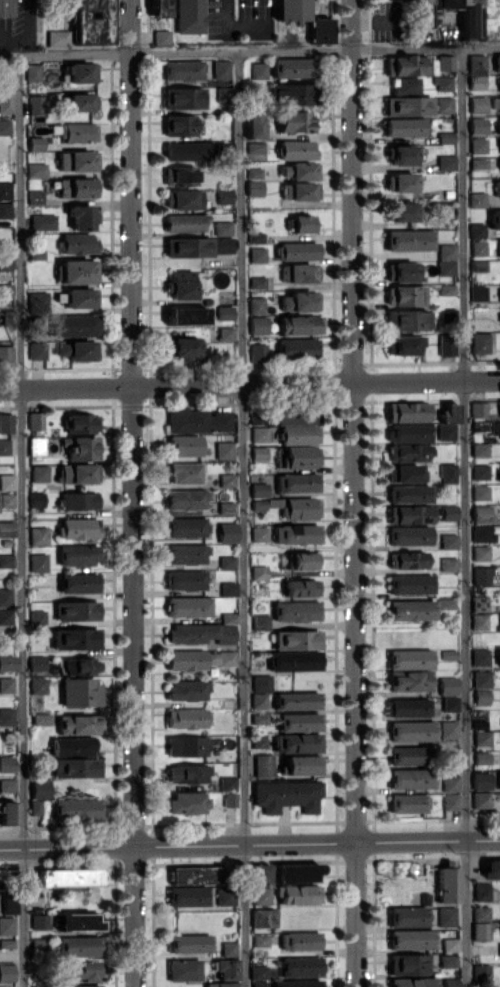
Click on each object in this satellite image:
building: (418, 2)
building: (7, 8)
building: (158, 8)
building: (290, 9)
building: (189, 16)
building: (476, 17)
building: (90, 21)
road: (28, 23)
road: (238, 24)
building: (319, 30)
building: (161, 37)
building: (57, 38)
road: (9, 40)
road: (18, 49)
road: (249, 50)
building: (445, 62)
building: (497, 62)
building: (476, 63)
building: (406, 65)
building: (292, 67)
building: (222, 69)
building: (183, 70)
building: (259, 70)
building: (32, 71)
building: (80, 72)
building: (499, 78)
building: (476, 82)
building: (443, 83)
building: (404, 85)
building: (225, 93)
building: (290, 93)
building: (184, 97)
building: (6, 101)
building: (80, 102)
building: (495, 102)
building: (36, 104)
building: (444, 104)
building: (477, 104)
building: (408, 105)
building: (294, 121)
building: (179, 125)
building: (477, 125)
building: (497, 125)
building: (255, 126)
building: (4, 127)
building: (404, 127)
building: (77, 132)
building: (35, 143)
building: (478, 145)
building: (499, 145)
building: (257, 147)
building: (296, 149)
building: (189, 150)
building: (401, 154)
building: (76, 160)
building: (446, 162)
building: (478, 163)
building: (499, 165)
building: (36, 170)
building: (299, 170)
building: (255, 172)
building: (180, 175)
building: (400, 182)
building: (76, 187)
building: (255, 187)
building: (497, 187)
building: (5, 189)
building: (299, 190)
building: (224, 195)
building: (35, 196)
building: (183, 199)
building: (477, 200)
building: (5, 210)
building: (401, 211)
building: (81, 216)
building: (494, 218)
building: (43, 222)
building: (185, 222)
building: (301, 223)
building: (223, 228)
building: (476, 230)
building: (255, 237)
building: (409, 239)
building: (76, 243)
building: (188, 246)
building: (477, 247)
building: (499, 247)
building: (296, 251)
building: (257, 254)
building: (446, 259)
building: (5, 263)
building: (77, 271)
building: (402, 271)
building: (299, 272)
building: (257, 281)
building: (181, 284)
building: (499, 285)
building: (478, 292)
building: (405, 295)
building: (80, 297)
building: (299, 301)
building: (37, 303)
building: (256, 304)
building: (225, 312)
building: (186, 315)
building: (447, 316)
building: (7, 317)
building: (406, 320)
building: (258, 324)
building: (299, 324)
building: (74, 325)
building: (479, 342)
building: (404, 344)
building: (446, 344)
building: (181, 347)
building: (296, 348)
building: (36, 350)
building: (78, 350)
building: (258, 352)
building: (6, 355)
road: (249, 382)
building: (478, 408)
building: (406, 411)
building: (448, 412)
building: (295, 416)
building: (35, 420)
building: (198, 420)
building: (5, 422)
building: (81, 423)
building: (446, 431)
building: (407, 432)
building: (259, 434)
building: (298, 434)
building: (36, 445)
building: (184, 445)
building: (4, 446)
building: (81, 447)
building: (480, 449)
building: (224, 450)
building: (407, 452)
building: (259, 453)
building: (300, 456)
building: (479, 471)
building: (184, 472)
building: (404, 472)
building: (498, 472)
building: (39, 473)
building: (78, 473)
building: (447, 473)
building: (226, 480)
building: (7, 481)
building: (296, 482)
building: (259, 489)
building: (480, 492)
road: (134, 493)
road: (354, 493)
building: (409, 493)
building: (37, 499)
building: (186, 499)
building: (6, 500)
building: (79, 500)
building: (291, 506)
building: (226, 507)
building: (448, 512)
building: (481, 513)
building: (409, 514)
road: (464, 517)
road: (243, 518)
road: (22, 520)
building: (186, 527)
building: (7, 528)
building: (78, 528)
building: (227, 532)
building: (482, 533)
building: (259, 534)
building: (296, 534)
building: (38, 535)
building: (409, 535)
building: (448, 541)
building: (480, 552)
building: (185, 553)
building: (78, 554)
building: (407, 559)
building: (6, 560)
building: (302, 560)
building: (227, 561)
building: (38, 562)
building: (448, 564)
building: (258, 572)
building: (481, 575)
building: (185, 579)
building: (78, 582)
building: (410, 583)
building: (229, 588)
building: (301, 588)
building: (5, 597)
building: (445, 603)
building: (479, 603)
building: (188, 606)
building: (77, 610)
building: (410, 610)
building: (296, 611)
building: (6, 616)
building: (37, 617)
building: (229, 618)
building: (479, 621)
building: (260, 622)
building: (200, 633)
building: (75, 638)
building: (296, 639)
building: (499, 656)
building: (480, 657)
building: (199, 659)
building: (409, 659)
building: (294, 661)
building: (7, 663)
building: (37, 663)
building: (79, 665)
building: (481, 678)
building: (409, 680)
building: (261, 683)
building: (6, 685)
building: (38, 685)
building: (447, 685)
building: (187, 690)
building: (80, 692)
building: (481, 696)
building: (259, 700)
building: (297, 700)
building: (450, 703)
building: (405, 707)
building: (6, 716)
building: (186, 718)
building: (298, 721)
building: (79, 724)
building: (448, 729)
building: (411, 731)
building: (481, 737)
building: (258, 741)
building: (297, 742)
building: (187, 745)
building: (73, 746)
building: (406, 755)
building: (481, 758)
building: (7, 763)
building: (263, 765)
building: (300, 765)
building: (75, 767)
building: (188, 773)
building: (411, 778)
building: (499, 779)
building: (481, 780)
building: (228, 783)
building: (450, 783)
building: (7, 785)
building: (40, 787)
building: (286, 795)
building: (230, 799)
building: (481, 800)
building: (450, 801)
building: (188, 802)
building: (408, 803)
building: (35, 807)
building: (76, 808)
building: (8, 812)
road: (250, 843)
building: (492, 869)
building: (260, 872)
building: (296, 872)
building: (197, 874)
building: (68, 877)
building: (447, 882)
building: (481, 891)
building: (298, 894)
building: (261, 895)
building: (188, 896)
building: (225, 897)
building: (10, 906)
building: (481, 913)
building: (408, 916)
building: (446, 916)
building: (264, 917)
building: (40, 921)
building: (77, 922)
building: (7, 925)
building: (480, 930)
building: (412, 939)
building: (260, 940)
building: (300, 940)
building: (7, 943)
building: (190, 943)
building: (451, 945)
building: (79, 946)
building: (499, 947)
building: (229, 948)
building: (448, 959)
building: (407, 964)
building: (301, 966)
building: (226, 968)
building: (184, 969)
building: (86, 970)
building: (6, 972)
building: (259, 972)
building: (481, 972)
building: (413, 982)
building: (451, 982)
building: (298, 983)
building: (222, 984)
building: (259, 984)
building: (1, 986)
building: (41, 986)
building: (79, 986)

